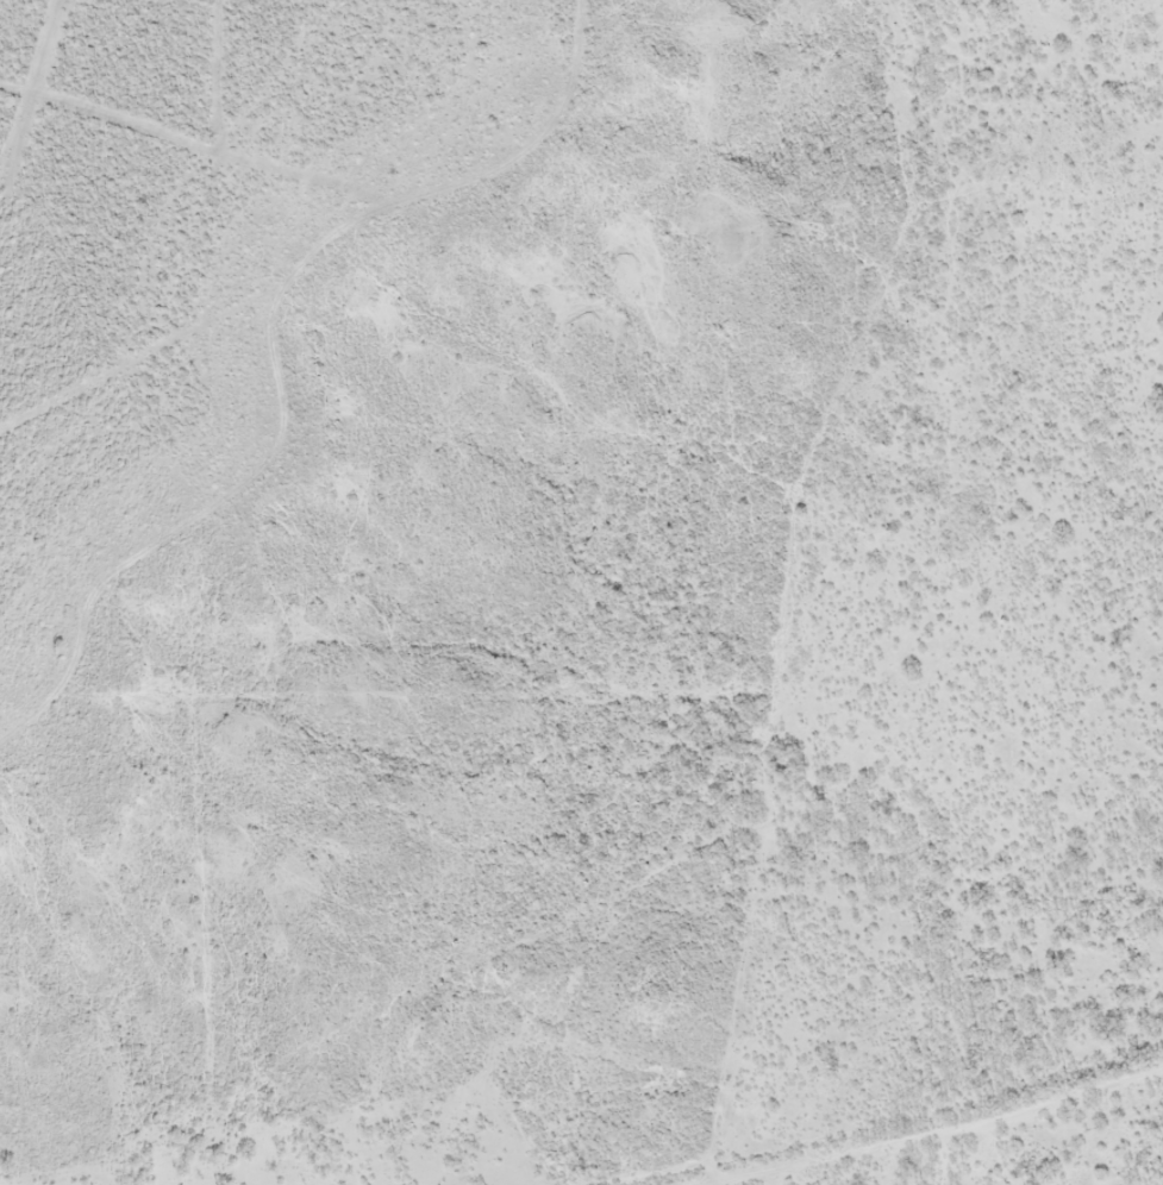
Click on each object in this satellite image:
road: (252, 305)

